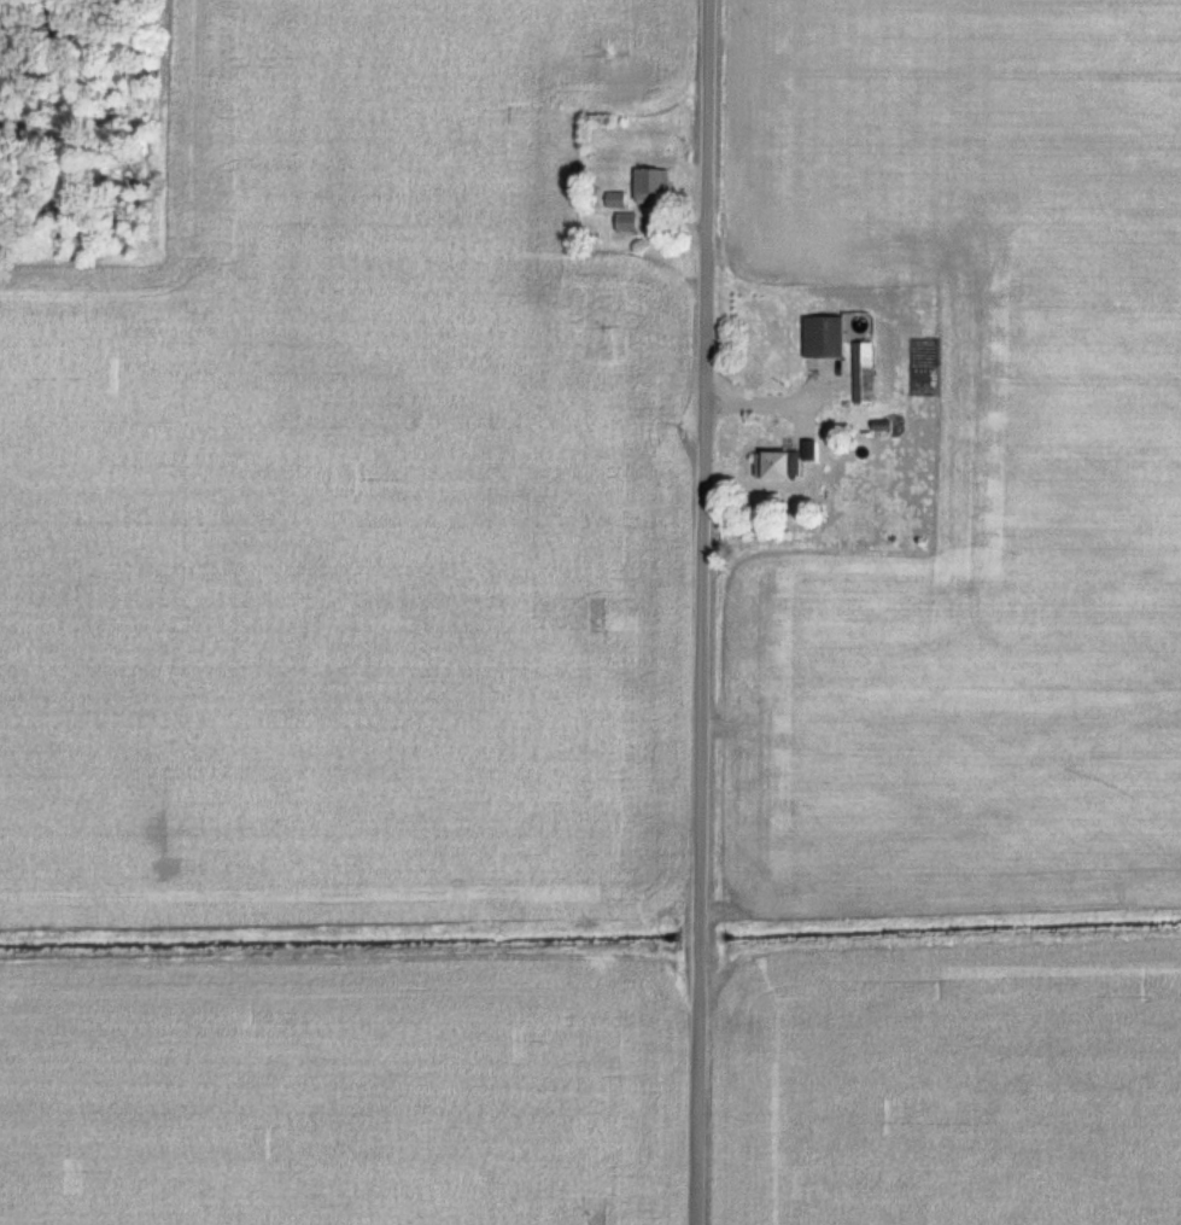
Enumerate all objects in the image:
building: (650, 182)
building: (627, 222)
building: (824, 336)
building: (864, 372)
building: (777, 463)
road: (700, 612)

